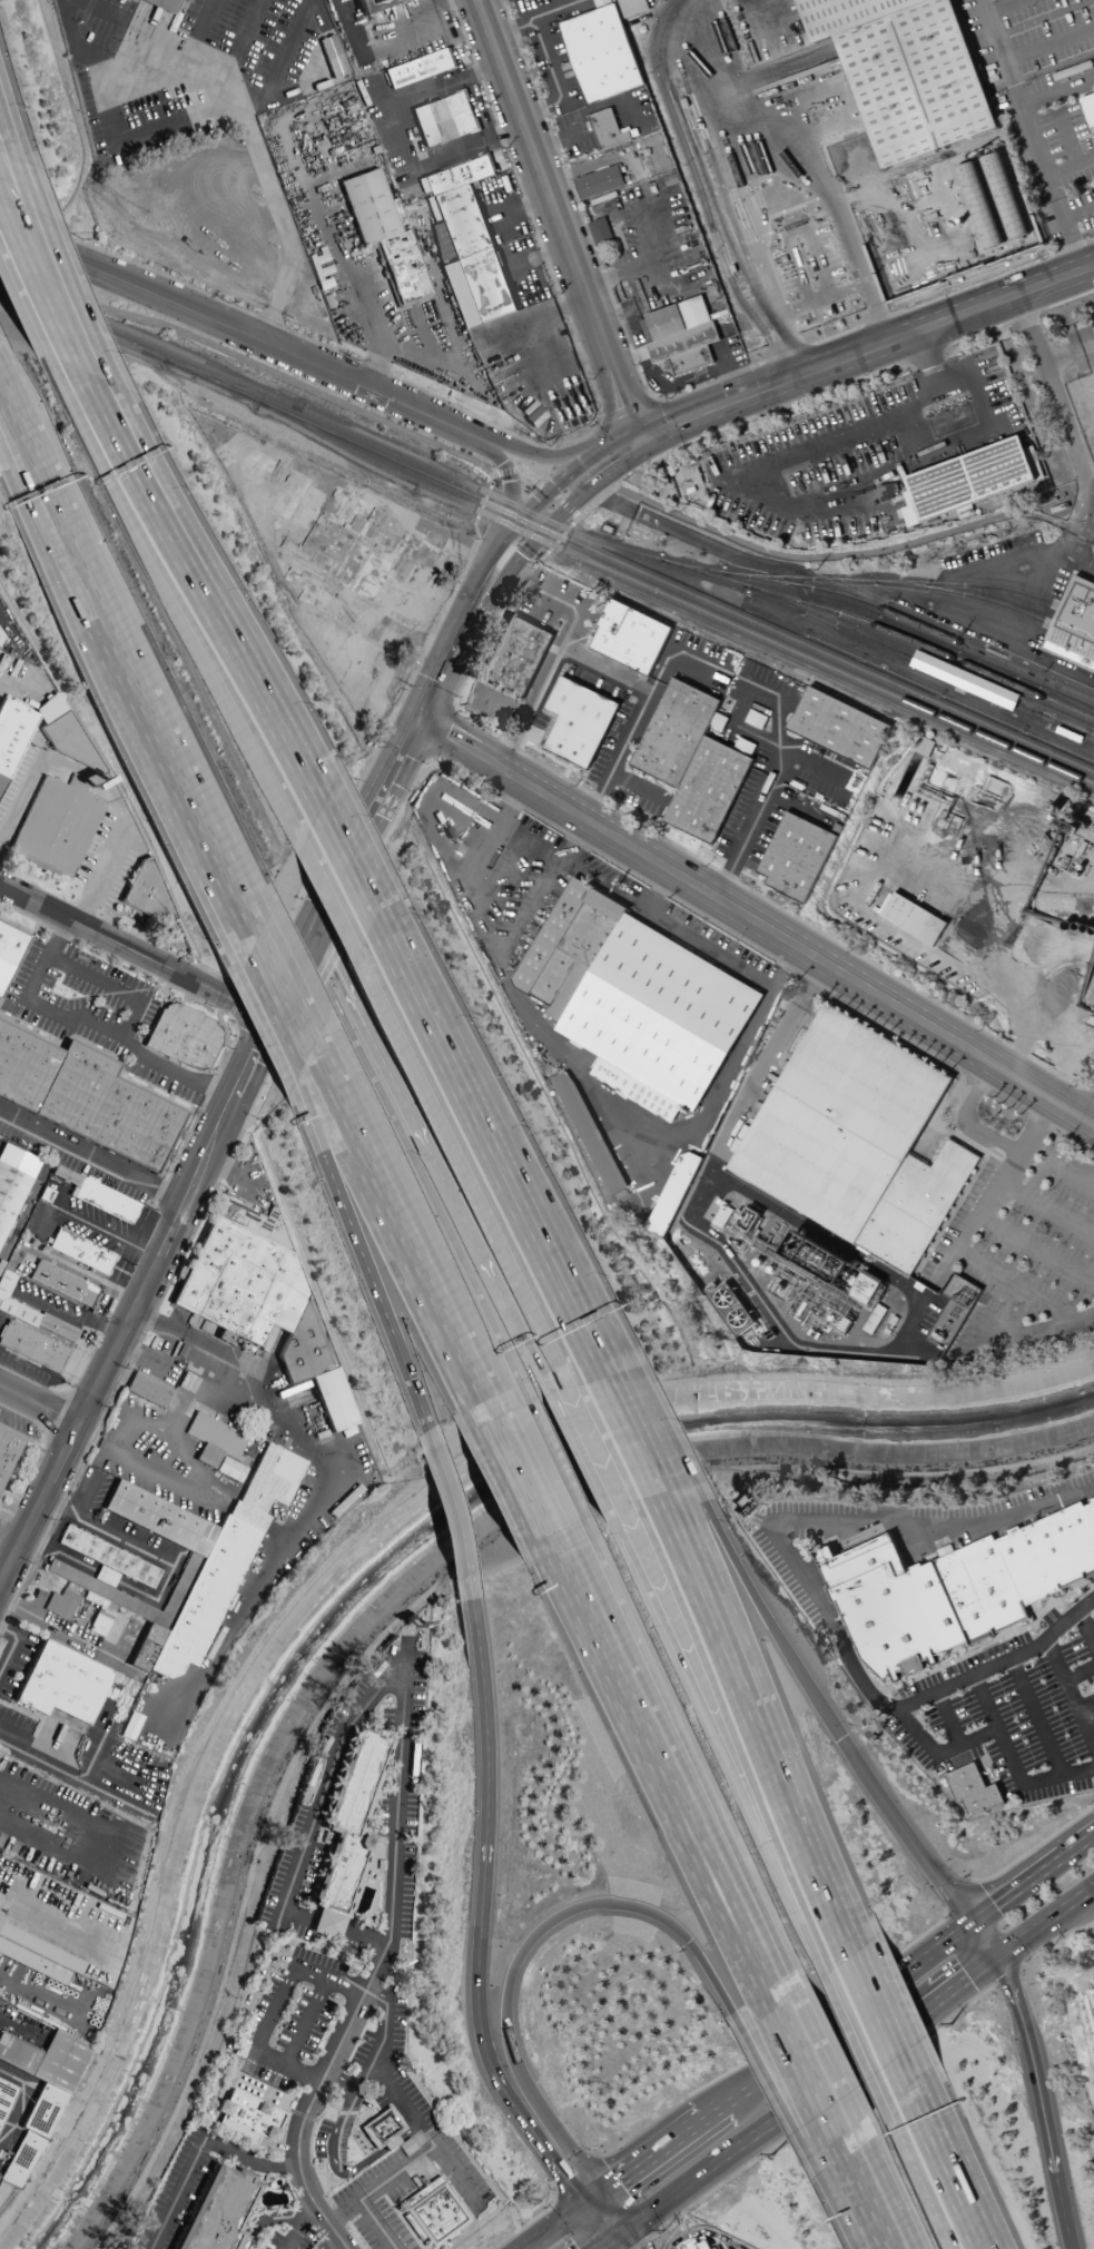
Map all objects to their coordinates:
building: (990, 0)
building: (993, 0)
building: (130, 1)
road: (486, 2)
building: (378, 3)
building: (165, 4)
building: (631, 7)
road: (1007, 7)
road: (670, 8)
road: (111, 17)
road: (700, 19)
road: (200, 34)
road: (244, 42)
road: (1049, 43)
building: (600, 52)
road: (287, 53)
building: (333, 57)
building: (420, 68)
road: (198, 75)
road: (139, 77)
building: (915, 90)
road: (1058, 93)
building: (1088, 108)
road: (1023, 109)
building: (444, 119)
road: (191, 124)
building: (605, 129)
road: (10, 131)
road: (1066, 139)
road: (1070, 165)
building: (598, 181)
road: (1, 201)
road: (1077, 214)
road: (558, 218)
building: (599, 230)
road: (285, 231)
building: (384, 235)
building: (465, 243)
road: (1071, 245)
road: (45, 257)
road: (347, 259)
road: (656, 260)
road: (36, 279)
road: (887, 322)
road: (522, 328)
road: (234, 331)
building: (680, 335)
road: (790, 336)
parking lot: (1082, 346)
road: (865, 348)
road: (1067, 354)
road: (926, 357)
road: (73, 363)
road: (726, 371)
railway: (233, 385)
road: (8, 394)
road: (990, 407)
road: (97, 412)
road: (1065, 425)
road: (910, 432)
road: (506, 433)
traffic signals: (639, 436)
road: (32, 444)
road: (24, 454)
road: (553, 455)
road: (585, 460)
road: (1085, 460)
road: (615, 463)
building: (973, 476)
road: (543, 489)
road: (585, 490)
road: (510, 491)
road: (570, 502)
railway: (546, 531)
railway: (574, 531)
road: (503, 536)
road: (689, 536)
road: (1067, 559)
road: (993, 562)
building: (417, 566)
road: (505, 574)
road: (806, 576)
railway: (895, 582)
road: (553, 599)
railway: (674, 599)
railway: (994, 603)
road: (818, 608)
road: (466, 610)
road: (955, 620)
road: (226, 622)
railway: (914, 622)
building: (1075, 623)
building: (630, 637)
road: (206, 642)
building: (515, 655)
railway: (924, 663)
road: (605, 667)
road: (440, 680)
building: (965, 680)
road: (923, 681)
road: (462, 682)
road: (20, 691)
road: (532, 701)
road: (501, 703)
road: (157, 704)
road: (452, 709)
traffic signals: (420, 721)
building: (578, 721)
road: (777, 723)
building: (838, 727)
building: (673, 731)
road: (438, 732)
building: (1070, 734)
building: (11, 736)
road: (771, 743)
road: (430, 758)
road: (558, 763)
road: (565, 769)
road: (603, 783)
road: (639, 785)
road: (783, 785)
building: (707, 789)
road: (367, 826)
building: (56, 828)
road: (1012, 831)
road: (492, 833)
road: (747, 833)
road: (703, 846)
road: (353, 854)
road: (709, 855)
building: (795, 856)
road: (495, 874)
road: (755, 877)
road: (1027, 879)
road: (329, 887)
road: (656, 889)
building: (146, 891)
road: (463, 891)
road: (762, 891)
parking lot: (520, 895)
road: (851, 904)
building: (914, 919)
road: (757, 921)
traffic signals: (314, 931)
road: (741, 940)
road: (266, 943)
building: (569, 946)
building: (9, 950)
road: (136, 957)
road: (992, 960)
road: (786, 967)
road: (293, 978)
road: (809, 984)
road: (292, 997)
road: (286, 1009)
building: (659, 1012)
road: (21, 1017)
traffic signals: (273, 1025)
road: (95, 1033)
building: (184, 1037)
road: (1051, 1037)
road: (1083, 1044)
road: (329, 1071)
road: (1086, 1091)
road: (1091, 1095)
building: (86, 1098)
road: (407, 1102)
road: (480, 1111)
road: (964, 1121)
building: (841, 1122)
road: (1093, 1123)
building: (589, 1133)
road: (93, 1157)
road: (1051, 1163)
road: (469, 1165)
road: (417, 1168)
road: (994, 1192)
building: (672, 1193)
building: (10, 1194)
building: (106, 1202)
building: (917, 1205)
road: (1046, 1211)
road: (711, 1239)
road: (367, 1249)
road: (844, 1249)
road: (1036, 1250)
building: (81, 1252)
road: (430, 1253)
parking lot: (1022, 1257)
road: (920, 1259)
road: (417, 1260)
power plant: (806, 1280)
road: (1014, 1283)
building: (62, 1284)
building: (865, 1289)
road: (145, 1291)
power tower: (963, 1299)
building: (262, 1301)
road: (507, 1301)
building: (30, 1313)
road: (1033, 1330)
road: (597, 1341)
building: (32, 1347)
road: (536, 1361)
building: (148, 1391)
road: (40, 1407)
road: (639, 1429)
building: (214, 1440)
road: (609, 1446)
building: (8, 1450)
road: (581, 1453)
road: (555, 1463)
building: (229, 1470)
road: (538, 1471)
road: (520, 1480)
road: (325, 1491)
road: (456, 1496)
road: (7, 1552)
building: (203, 1560)
road: (7, 1569)
building: (1016, 1569)
road: (801, 1578)
road: (472, 1579)
building: (102, 1591)
road: (404, 1604)
building: (61, 1605)
building: (887, 1606)
road: (752, 1612)
road: (48, 1625)
road: (1086, 1627)
road: (987, 1641)
road: (12, 1646)
road: (1078, 1673)
building: (62, 1685)
road: (1071, 1699)
road: (986, 1700)
road: (1085, 1710)
road: (953, 1715)
road: (1036, 1715)
road: (762, 1722)
parking lot: (1011, 1733)
road: (998, 1736)
road: (732, 1738)
road: (718, 1743)
road: (39, 1750)
road: (692, 1758)
road: (682, 1763)
road: (661, 1777)
road: (325, 1785)
building: (973, 1789)
road: (397, 1801)
building: (351, 1831)
road: (904, 1832)
road: (108, 1842)
road: (1033, 1847)
building: (381, 1866)
road: (479, 1875)
road: (1033, 1876)
road: (582, 1911)
traffic signals: (972, 1922)
road: (1047, 1923)
road: (55, 1926)
road: (986, 1940)
road: (1053, 1940)
building: (38, 1955)
traffic signals: (1002, 1959)
road: (325, 1979)
road: (968, 1982)
building: (1091, 2000)
road: (848, 2012)
parking lot: (293, 2021)
road: (889, 2022)
road: (858, 2036)
road: (383, 2040)
road: (886, 2041)
road: (828, 2060)
road: (270, 2061)
road: (1033, 2064)
road: (216, 2072)
road: (302, 2079)
road: (804, 2080)
road: (341, 2084)
building: (39, 2095)
road: (315, 2095)
building: (6, 2097)
road: (778, 2098)
road: (20, 2102)
road: (402, 2104)
road: (713, 2111)
building: (250, 2114)
building: (383, 2127)
road: (555, 2130)
building: (237, 2131)
road: (336, 2132)
road: (408, 2134)
building: (391, 2143)
road: (392, 2146)
road: (198, 2150)
road: (730, 2151)
road: (652, 2156)
road: (457, 2159)
road: (364, 2164)
road: (957, 2168)
road: (920, 2174)
road: (560, 2176)
road: (590, 2178)
road: (852, 2182)
road: (380, 2184)
road: (887, 2186)
parking lot: (180, 2191)
road: (841, 2192)
traffic signals: (601, 2193)
road: (475, 2200)
road: (591, 2200)
road: (489, 2202)
road: (1061, 2203)
traffic signals: (582, 2208)
road: (613, 2210)
building: (221, 2211)
road: (390, 2212)
building: (434, 2213)
road: (273, 2220)
road: (594, 2226)
road: (297, 2227)
road: (368, 2227)
traffic signals: (627, 2227)
road: (554, 2228)
road: (452, 2233)
road: (617, 2236)
road: (877, 2236)
road: (633, 2237)
road: (704, 2239)
road: (1068, 2240)
road: (246, 2242)
parking lot: (290, 2242)
road: (348, 2243)
traffic signals: (607, 2245)
building: (702, 2246)
road: (602, 2247)
road: (608, 2247)

